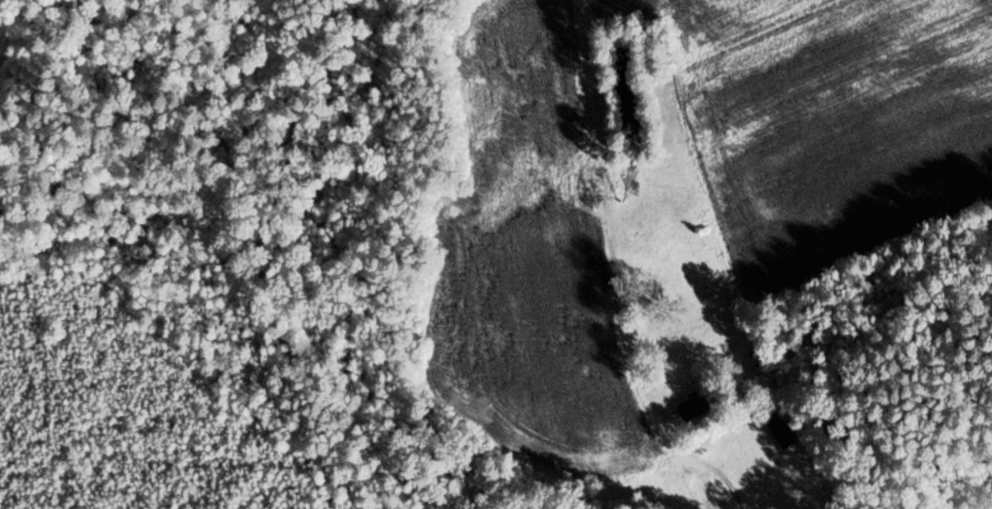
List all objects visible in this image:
building: (770, 377)
building: (693, 406)
building: (784, 427)
road: (726, 477)

